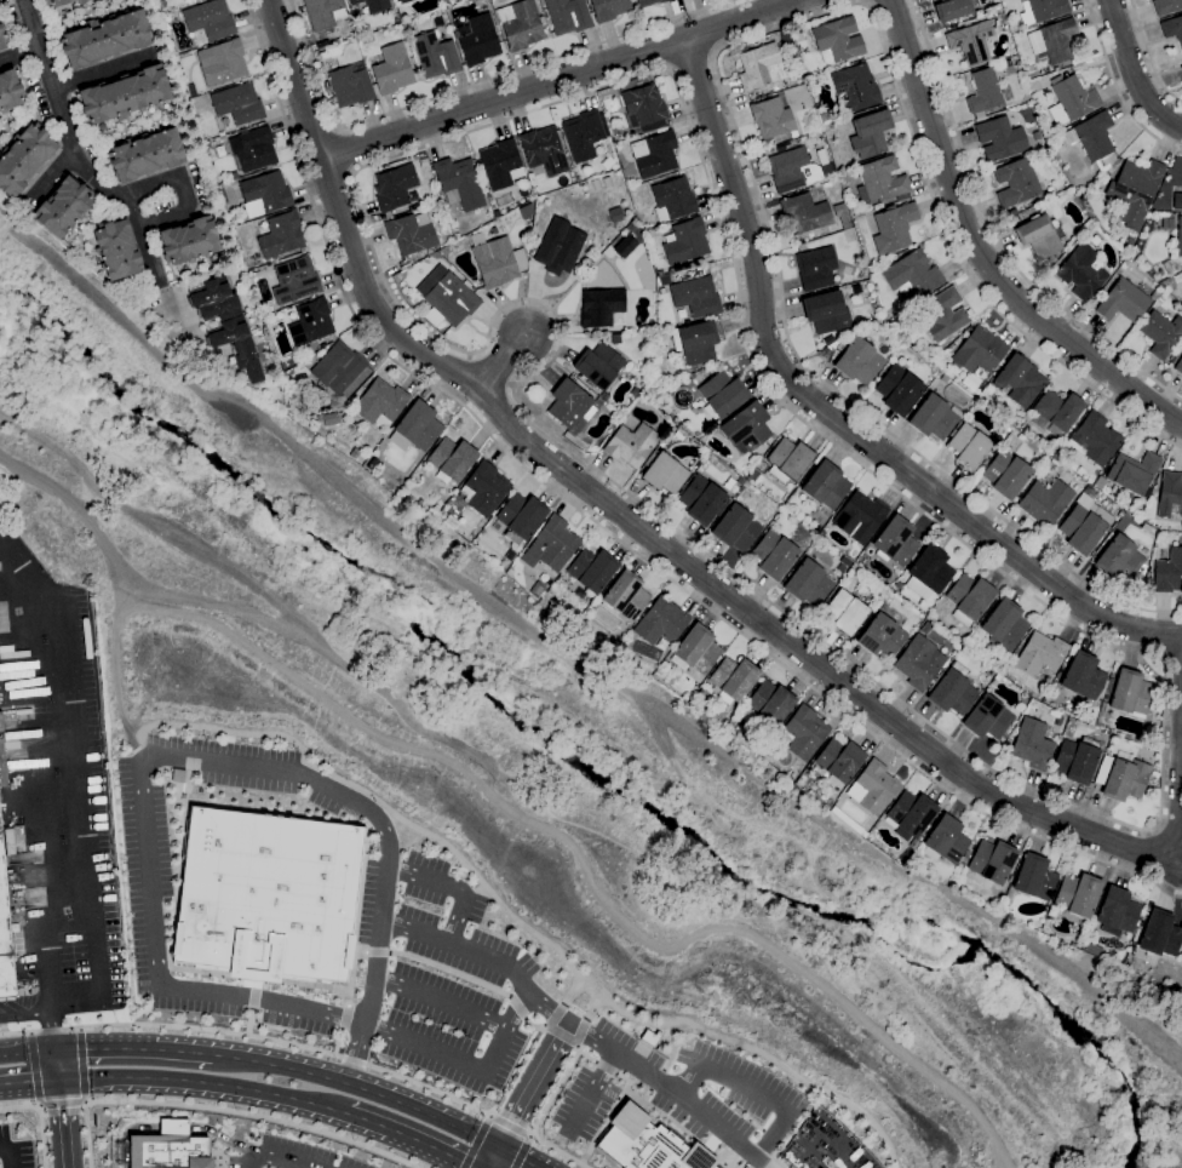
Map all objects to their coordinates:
building: (398, 0)
building: (402, 1)
road: (862, 1)
building: (62, 2)
building: (157, 2)
building: (649, 2)
building: (372, 5)
building: (1166, 6)
building: (608, 8)
building: (951, 10)
building: (1043, 10)
building: (322, 13)
building: (567, 16)
building: (208, 22)
building: (521, 24)
building: (1172, 29)
building: (0, 30)
building: (103, 39)
building: (477, 40)
building: (836, 40)
building: (971, 41)
building: (1052, 41)
building: (1, 45)
building: (322, 46)
building: (327, 53)
road: (19, 55)
building: (435, 56)
road: (1148, 56)
road: (690, 62)
building: (220, 63)
building: (759, 67)
building: (1181, 68)
building: (391, 69)
road: (101, 73)
road: (1131, 73)
building: (960, 76)
road: (561, 80)
road: (719, 82)
building: (350, 86)
road: (470, 86)
building: (855, 87)
road: (1117, 87)
building: (8, 91)
building: (986, 92)
building: (122, 96)
building: (1071, 99)
building: (236, 105)
building: (643, 109)
road: (59, 110)
building: (771, 119)
building: (616, 133)
building: (583, 134)
building: (870, 134)
building: (1035, 137)
building: (1000, 139)
building: (1091, 139)
building: (779, 148)
building: (252, 149)
road: (343, 150)
building: (543, 150)
building: (144, 155)
building: (654, 155)
building: (23, 159)
building: (500, 165)
building: (791, 170)
road: (52, 176)
building: (880, 182)
building: (458, 183)
building: (1015, 183)
building: (394, 188)
building: (1134, 191)
building: (264, 194)
building: (672, 200)
building: (1176, 201)
building: (61, 208)
road: (185, 208)
building: (524, 211)
building: (805, 212)
building: (495, 213)
building: (615, 214)
building: (842, 216)
building: (441, 223)
building: (893, 228)
building: (1088, 233)
building: (409, 234)
road: (993, 235)
building: (277, 237)
building: (1039, 237)
building: (1178, 237)
building: (1094, 240)
building: (188, 241)
building: (684, 242)
building: (558, 246)
building: (115, 250)
road: (977, 253)
building: (890, 254)
building: (495, 260)
building: (885, 262)
building: (815, 268)
road: (153, 269)
building: (590, 271)
building: (1080, 273)
building: (912, 275)
building: (294, 280)
building: (471, 288)
building: (855, 288)
building: (447, 296)
building: (694, 297)
building: (212, 300)
building: (1121, 302)
building: (599, 307)
building: (826, 313)
building: (941, 315)
building: (310, 322)
building: (878, 326)
building: (1160, 333)
building: (614, 338)
building: (696, 340)
building: (826, 340)
building: (235, 345)
building: (979, 351)
building: (857, 361)
road: (501, 362)
building: (597, 366)
building: (1178, 366)
building: (338, 368)
building: (288, 373)
building: (677, 374)
building: (941, 379)
building: (694, 380)
building: (1020, 380)
building: (897, 390)
building: (633, 393)
building: (603, 395)
building: (721, 395)
building: (380, 403)
building: (569, 405)
building: (320, 406)
building: (665, 408)
building: (1055, 411)
building: (933, 417)
building: (622, 418)
road: (833, 418)
building: (328, 419)
building: (418, 425)
building: (745, 429)
building: (678, 436)
building: (1094, 439)
building: (630, 445)
building: (660, 445)
building: (968, 446)
building: (451, 460)
building: (787, 460)
building: (699, 462)
building: (662, 473)
building: (1132, 473)
building: (1005, 474)
building: (752, 476)
building: (739, 481)
building: (825, 485)
building: (483, 489)
building: (1169, 496)
building: (700, 499)
building: (418, 502)
building: (1044, 502)
building: (520, 517)
building: (819, 517)
building: (859, 517)
building: (1083, 527)
building: (735, 528)
road: (614, 537)
road: (650, 537)
building: (895, 542)
building: (551, 545)
road: (11, 555)
building: (773, 555)
building: (1119, 560)
building: (591, 569)
building: (928, 572)
building: (1169, 572)
building: (807, 584)
road: (50, 596)
building: (625, 596)
building: (968, 599)
building: (844, 612)
building: (660, 622)
building: (1004, 625)
building: (925, 628)
building: (880, 636)
building: (616, 640)
street lamp: (42, 641)
building: (610, 646)
building: (695, 651)
building: (1040, 654)
road: (1171, 658)
building: (918, 663)
building: (1081, 676)
building: (734, 677)
building: (997, 677)
building: (952, 689)
building: (1130, 694)
street lamp: (48, 702)
building: (769, 704)
building: (987, 717)
road: (225, 731)
building: (1, 732)
building: (803, 733)
road: (133, 735)
building: (1032, 745)
road: (57, 748)
road: (35, 752)
river: (573, 754)
building: (839, 760)
building: (1075, 760)
road: (291, 771)
street lamp: (54, 774)
building: (1121, 777)
road: (342, 780)
road: (1160, 786)
building: (873, 788)
parking lot: (63, 792)
building: (910, 814)
building: (847, 821)
road: (528, 825)
road: (85, 834)
building: (945, 841)
street lamp: (61, 842)
building: (964, 858)
building: (992, 861)
road: (69, 872)
building: (1033, 877)
road: (449, 887)
road: (478, 888)
road: (469, 892)
building: (1078, 894)
building: (263, 895)
building: (1115, 912)
road: (355, 920)
building: (1158, 934)
building: (5, 941)
road: (358, 952)
road: (375, 952)
road: (448, 971)
road: (51, 974)
road: (251, 977)
road: (254, 983)
road: (570, 990)
road: (253, 998)
road: (440, 1002)
road: (515, 1007)
road: (591, 1008)
road: (322, 1014)
road: (552, 1014)
road: (23, 1015)
road: (1129, 1015)
road: (626, 1017)
road: (343, 1018)
road: (249, 1021)
road: (532, 1025)
road: (171, 1026)
road: (268, 1026)
road: (79, 1031)
road: (504, 1031)
road: (578, 1031)
road: (50, 1032)
road: (579, 1034)
road: (29, 1035)
road: (560, 1035)
road: (335, 1042)
road: (672, 1048)
road: (103, 1049)
traffic signals: (53, 1052)
road: (182, 1052)
road: (27, 1054)
road: (585, 1057)
road: (351, 1060)
road: (56, 1065)
road: (81, 1066)
road: (603, 1067)
road: (33, 1070)
traffic signals: (58, 1078)
road: (655, 1080)
road: (29, 1081)
road: (203, 1082)
road: (532, 1087)
road: (357, 1088)
road: (431, 1089)
road: (553, 1090)
road: (591, 1090)
road: (754, 1090)
road: (644, 1095)
road: (61, 1103)
road: (18, 1105)
road: (612, 1106)
road: (254, 1115)
road: (487, 1116)
road: (62, 1122)
road: (509, 1126)
road: (677, 1126)
road: (172, 1127)
road: (125, 1133)
road: (40, 1134)
road: (85, 1134)
road: (219, 1136)
road: (529, 1136)
road: (412, 1139)
road: (475, 1143)
building: (639, 1144)
building: (167, 1149)
traffic signals: (497, 1149)
road: (521, 1152)
road: (556, 1152)
road: (7, 1153)
road: (584, 1155)
road: (274, 1157)
road: (515, 1157)
road: (492, 1158)
road: (223, 1163)
building: (706, 1166)
road: (1004, 1167)

